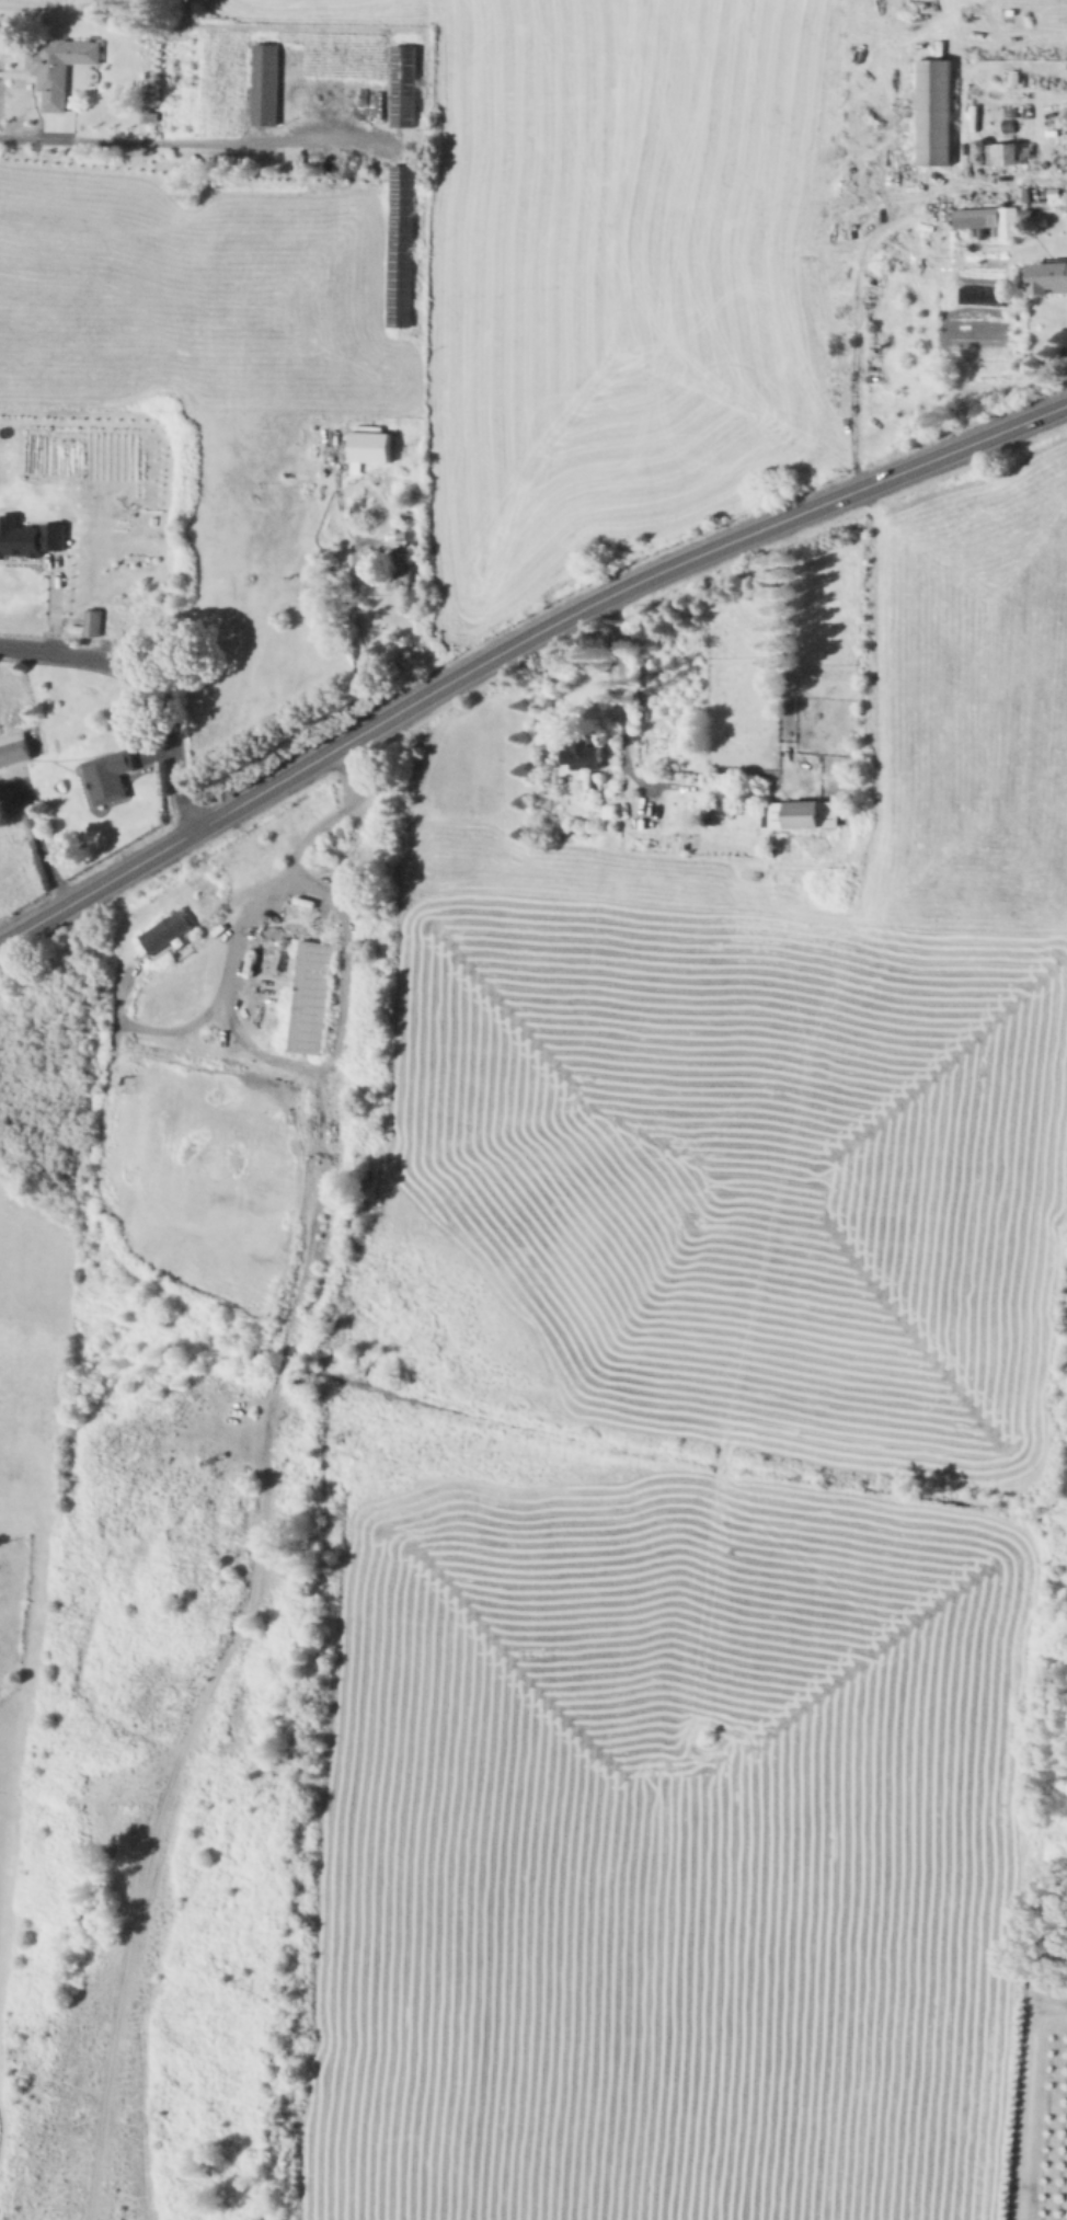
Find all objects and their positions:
building: (62, 68)
building: (267, 83)
building: (405, 87)
building: (936, 112)
road: (188, 142)
building: (982, 148)
silo: (982, 148)
building: (1009, 153)
building: (983, 162)
silo: (983, 162)
building: (977, 217)
building: (1009, 221)
building: (402, 247)
crop: (612, 265)
building: (1049, 276)
building: (367, 444)
building: (357, 508)
building: (405, 517)
building: (27, 535)
building: (412, 539)
building: (401, 573)
building: (104, 588)
road: (54, 603)
building: (137, 625)
building: (89, 626)
road: (518, 644)
road: (152, 682)
building: (14, 749)
building: (582, 754)
building: (111, 777)
building: (801, 812)
road: (37, 842)
building: (164, 931)
building: (307, 995)
road: (163, 1029)
road: (335, 1029)
road: (209, 1044)
building: (123, 1083)
crop: (737, 1168)
road: (229, 1641)
road: (12, 1683)
road: (16, 1735)
crop: (664, 1846)

